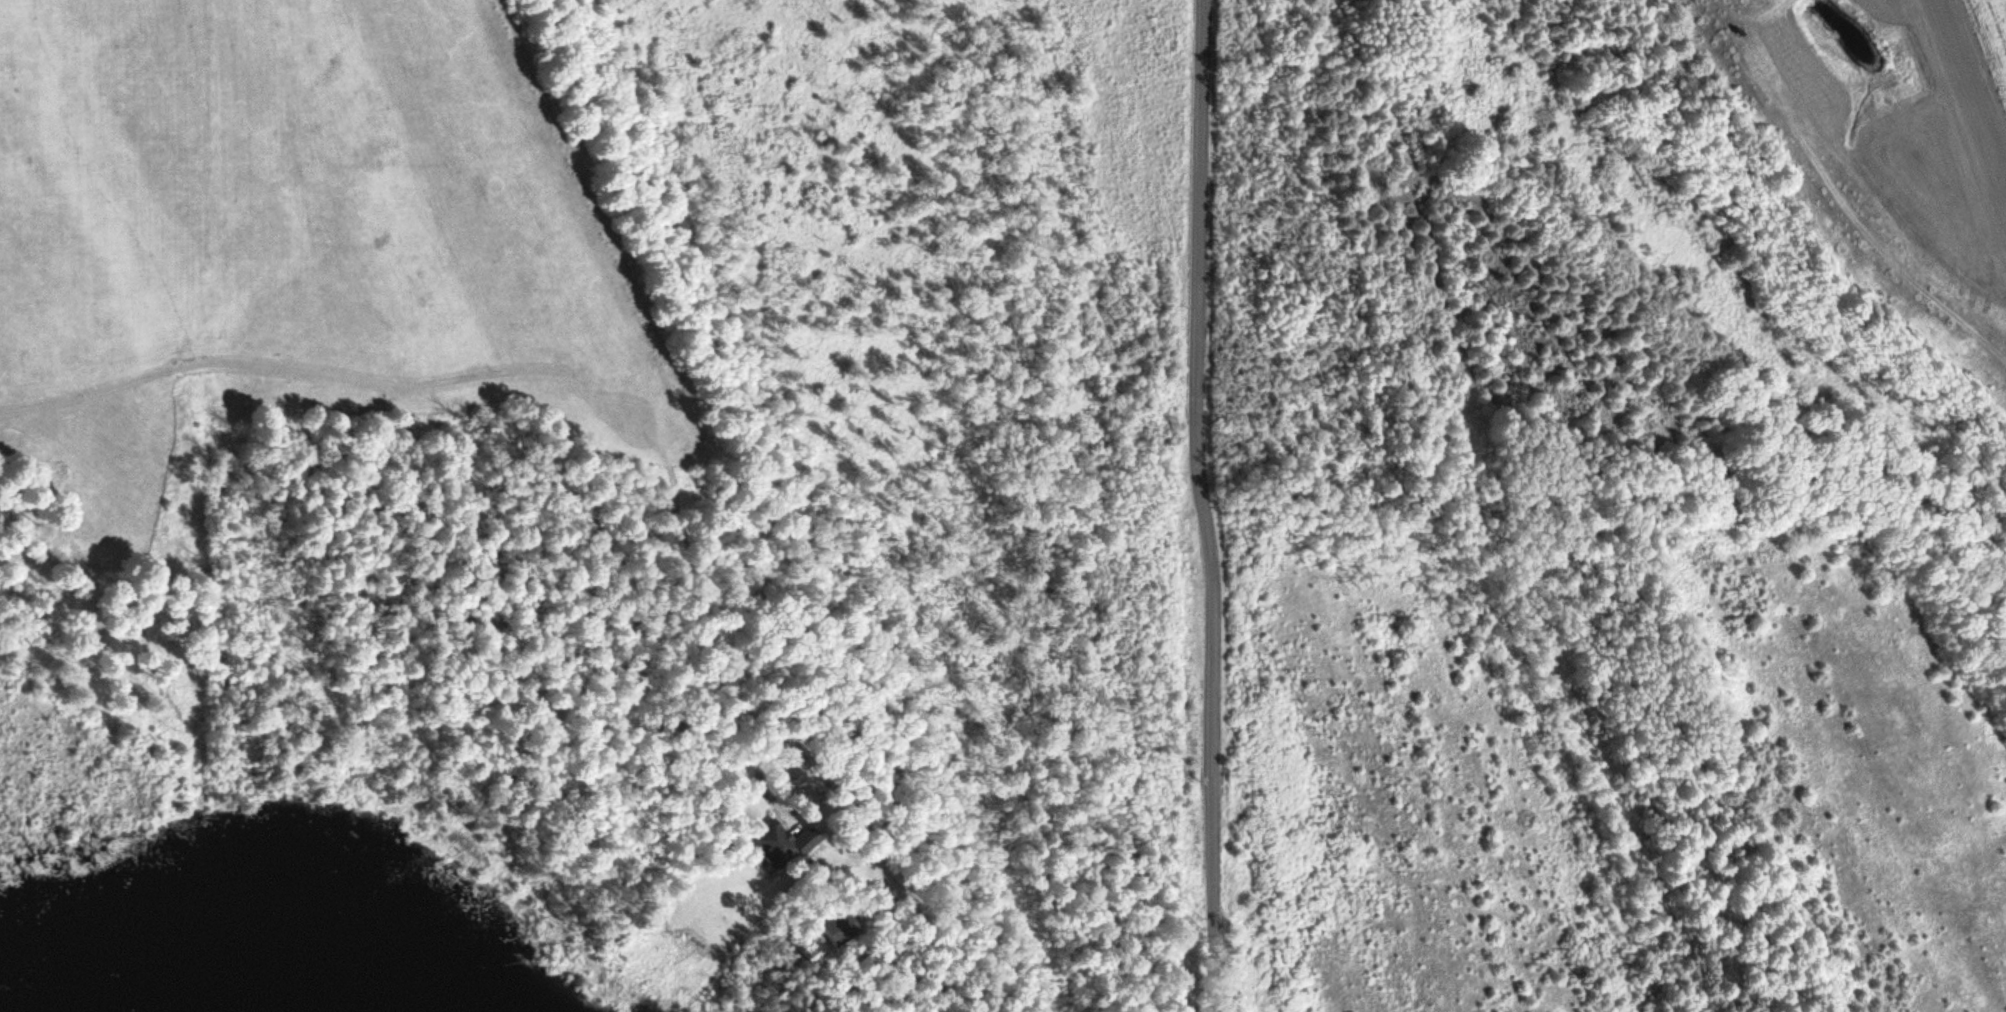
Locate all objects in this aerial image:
road: (1203, 506)
building: (783, 842)
road: (902, 891)

